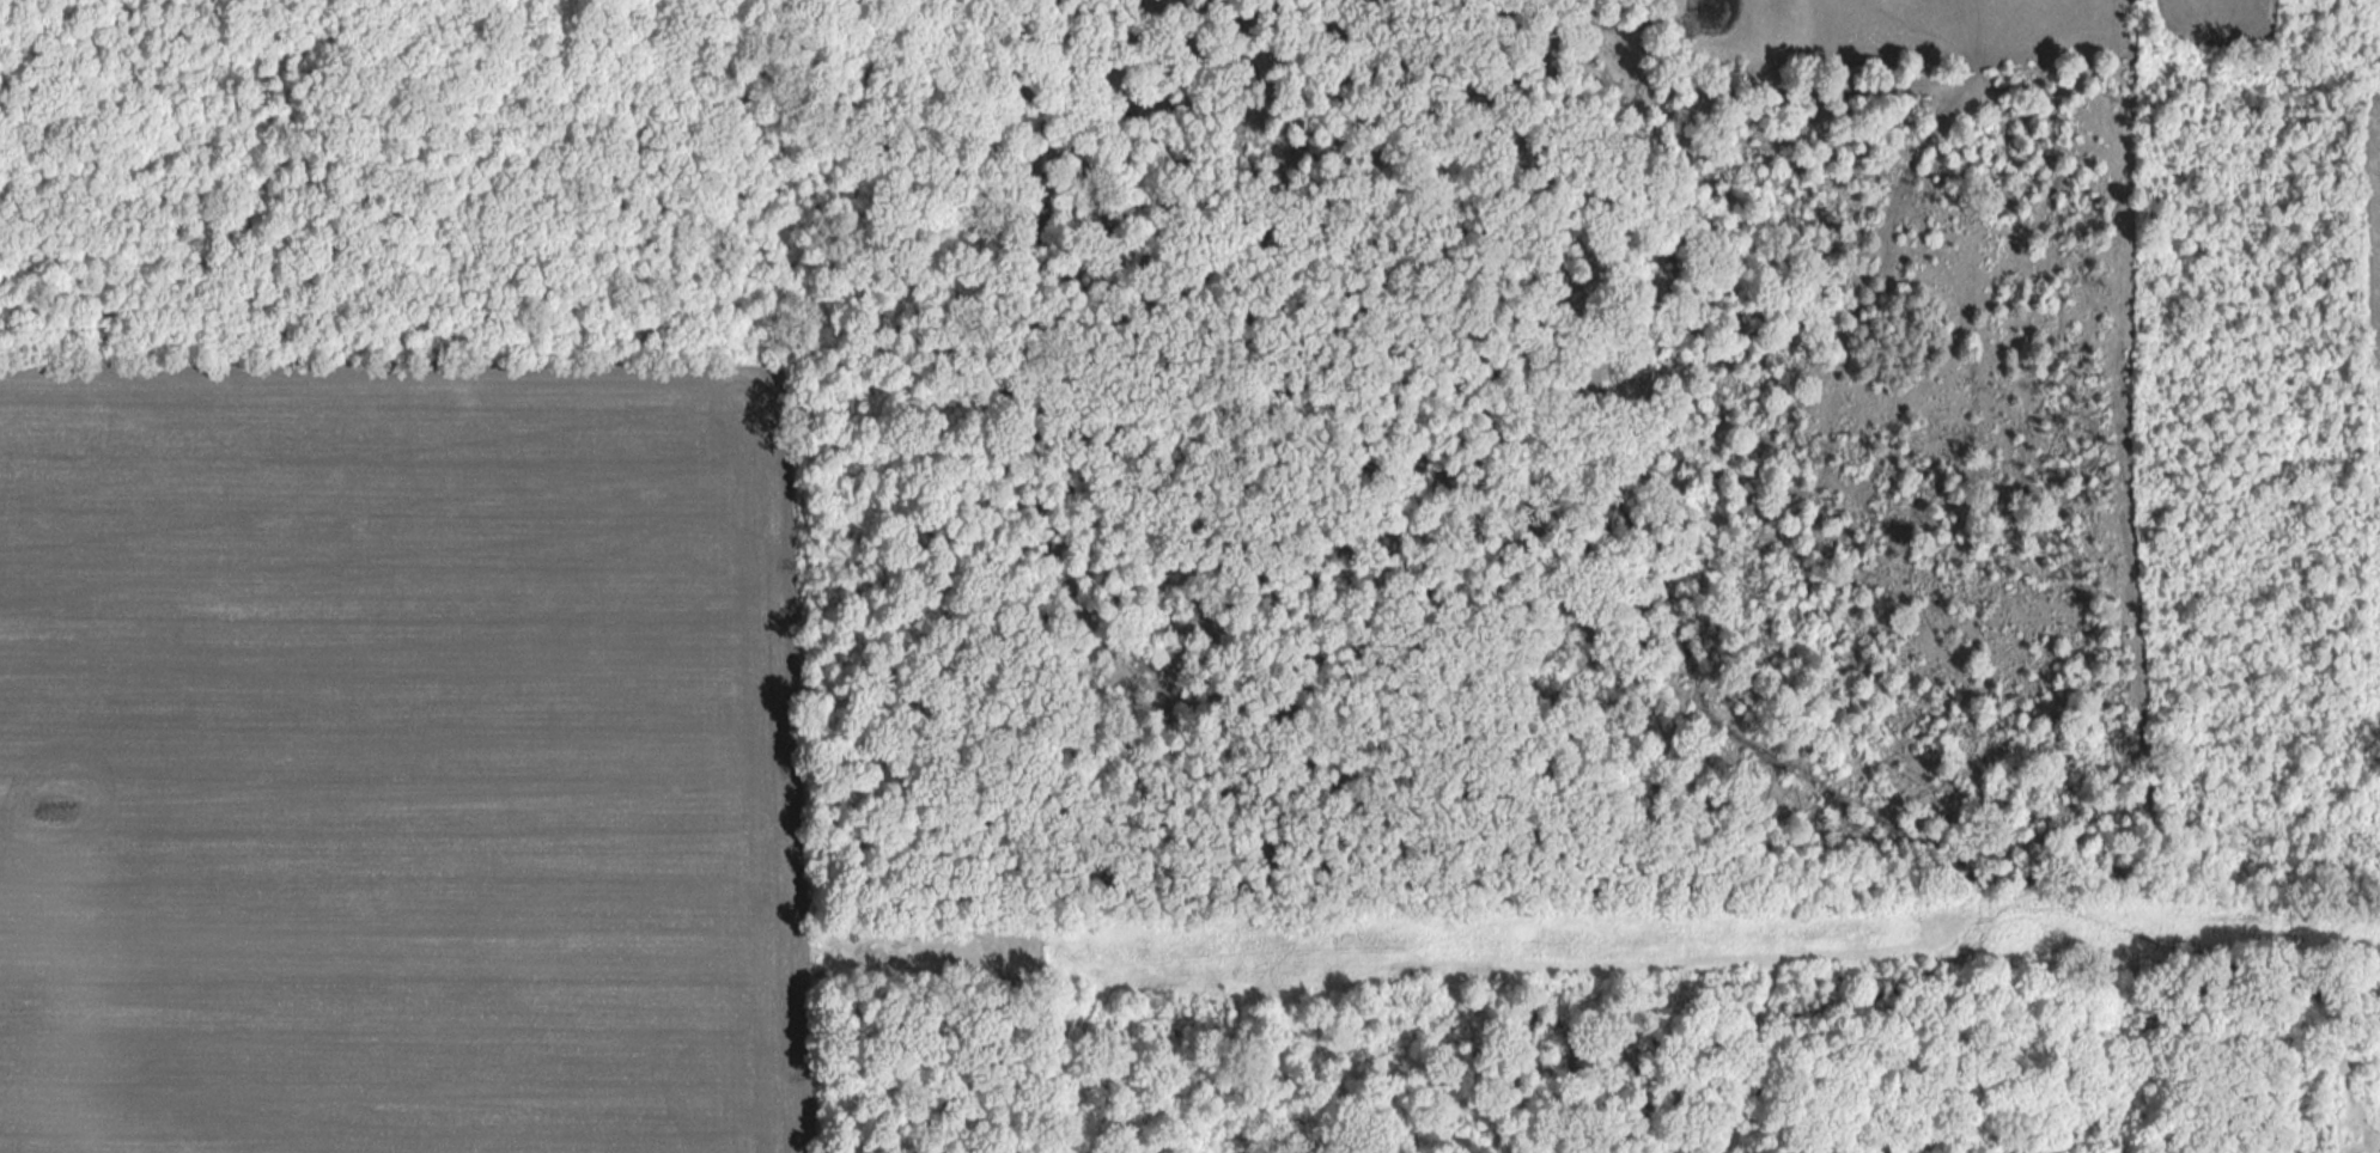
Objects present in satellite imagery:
crop: (2263, 24)
crop: (2368, 208)
crop: (396, 764)

